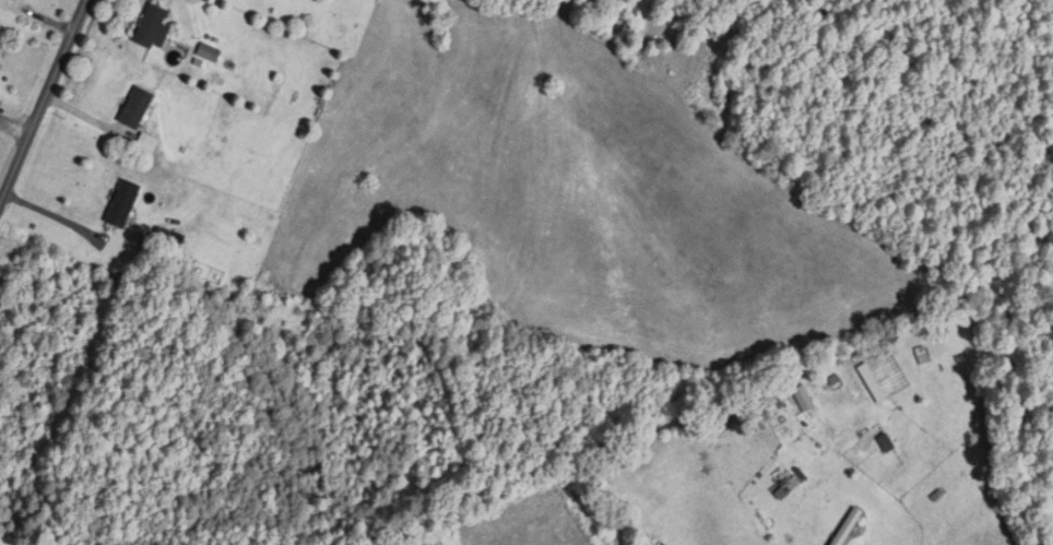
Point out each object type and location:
road: (878, 17)
building: (153, 28)
building: (209, 52)
road: (39, 97)
building: (137, 107)
road: (11, 133)
building: (146, 144)
building: (122, 202)
road: (51, 214)
building: (847, 526)

